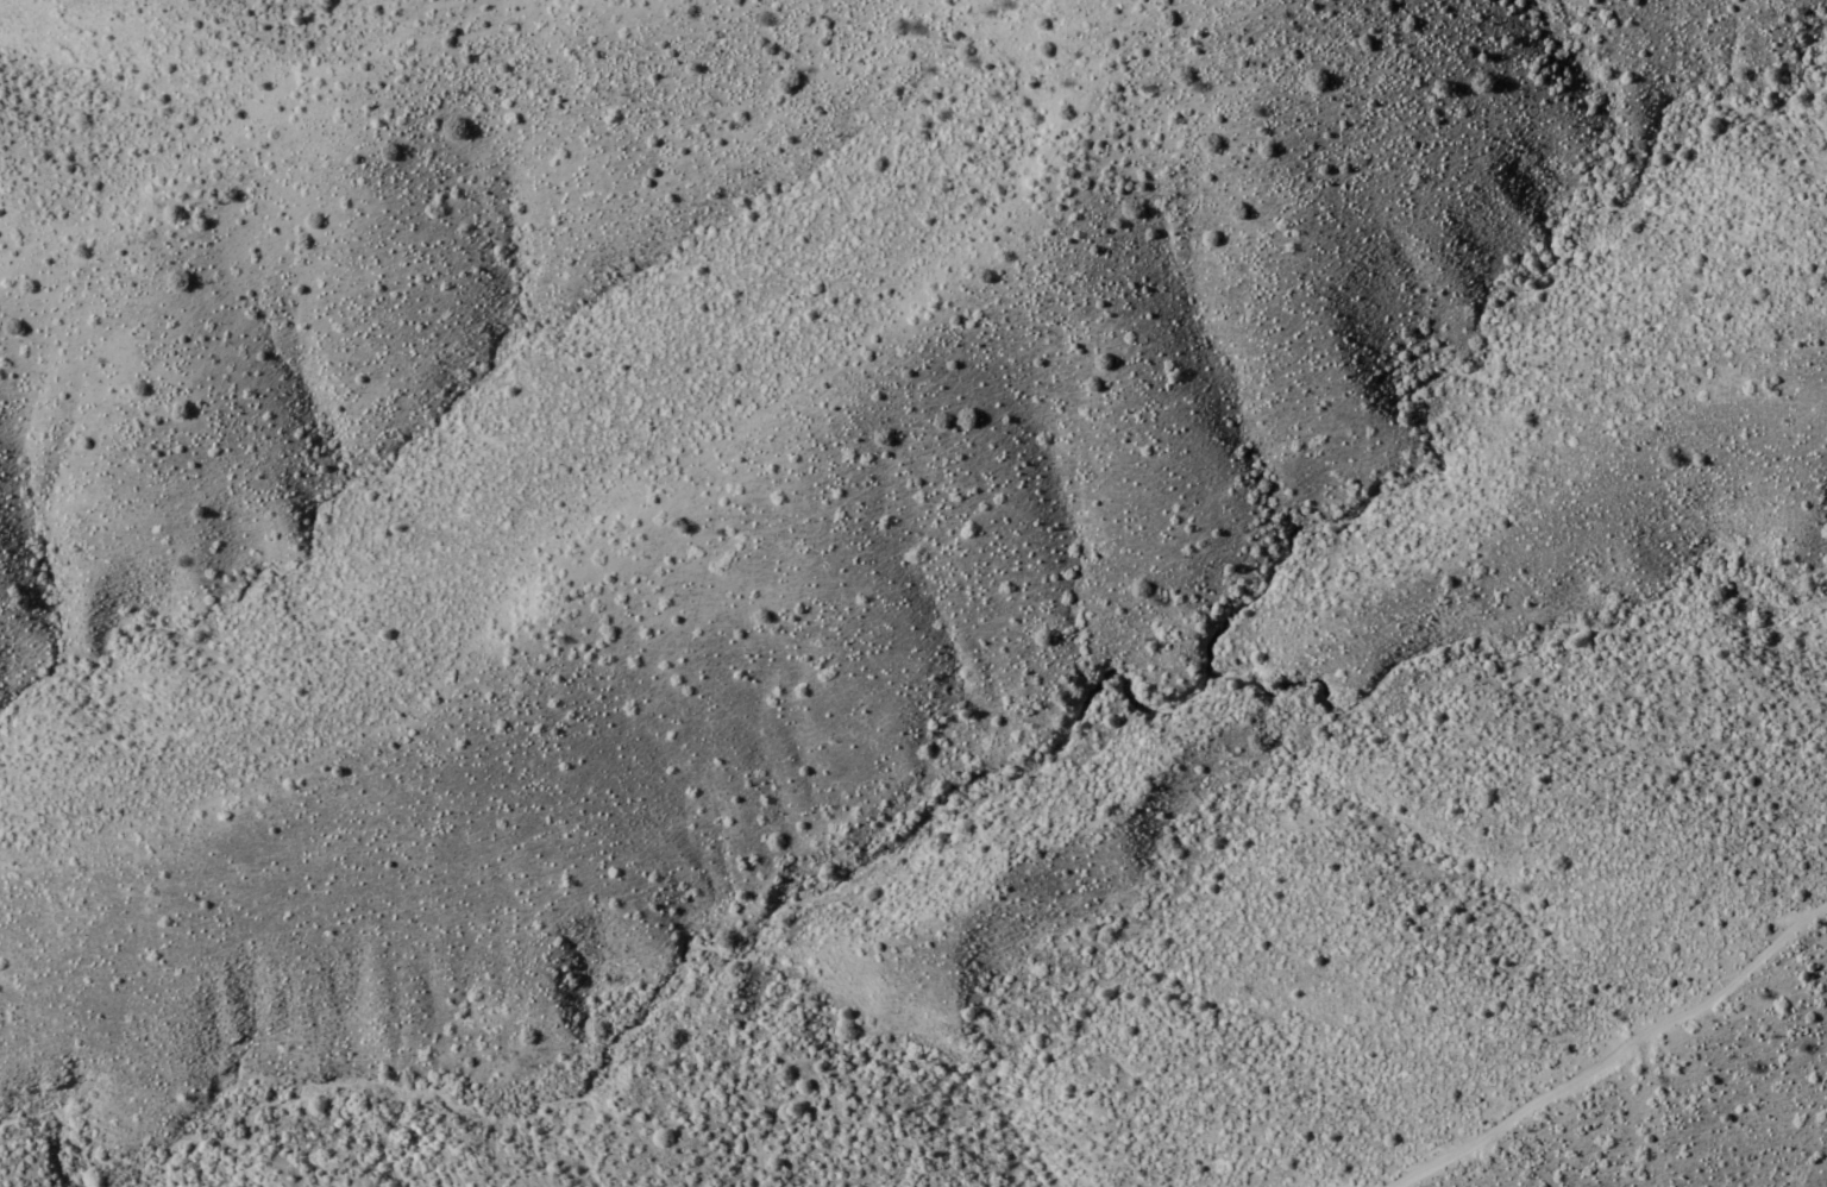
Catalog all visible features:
road: (1612, 1051)

